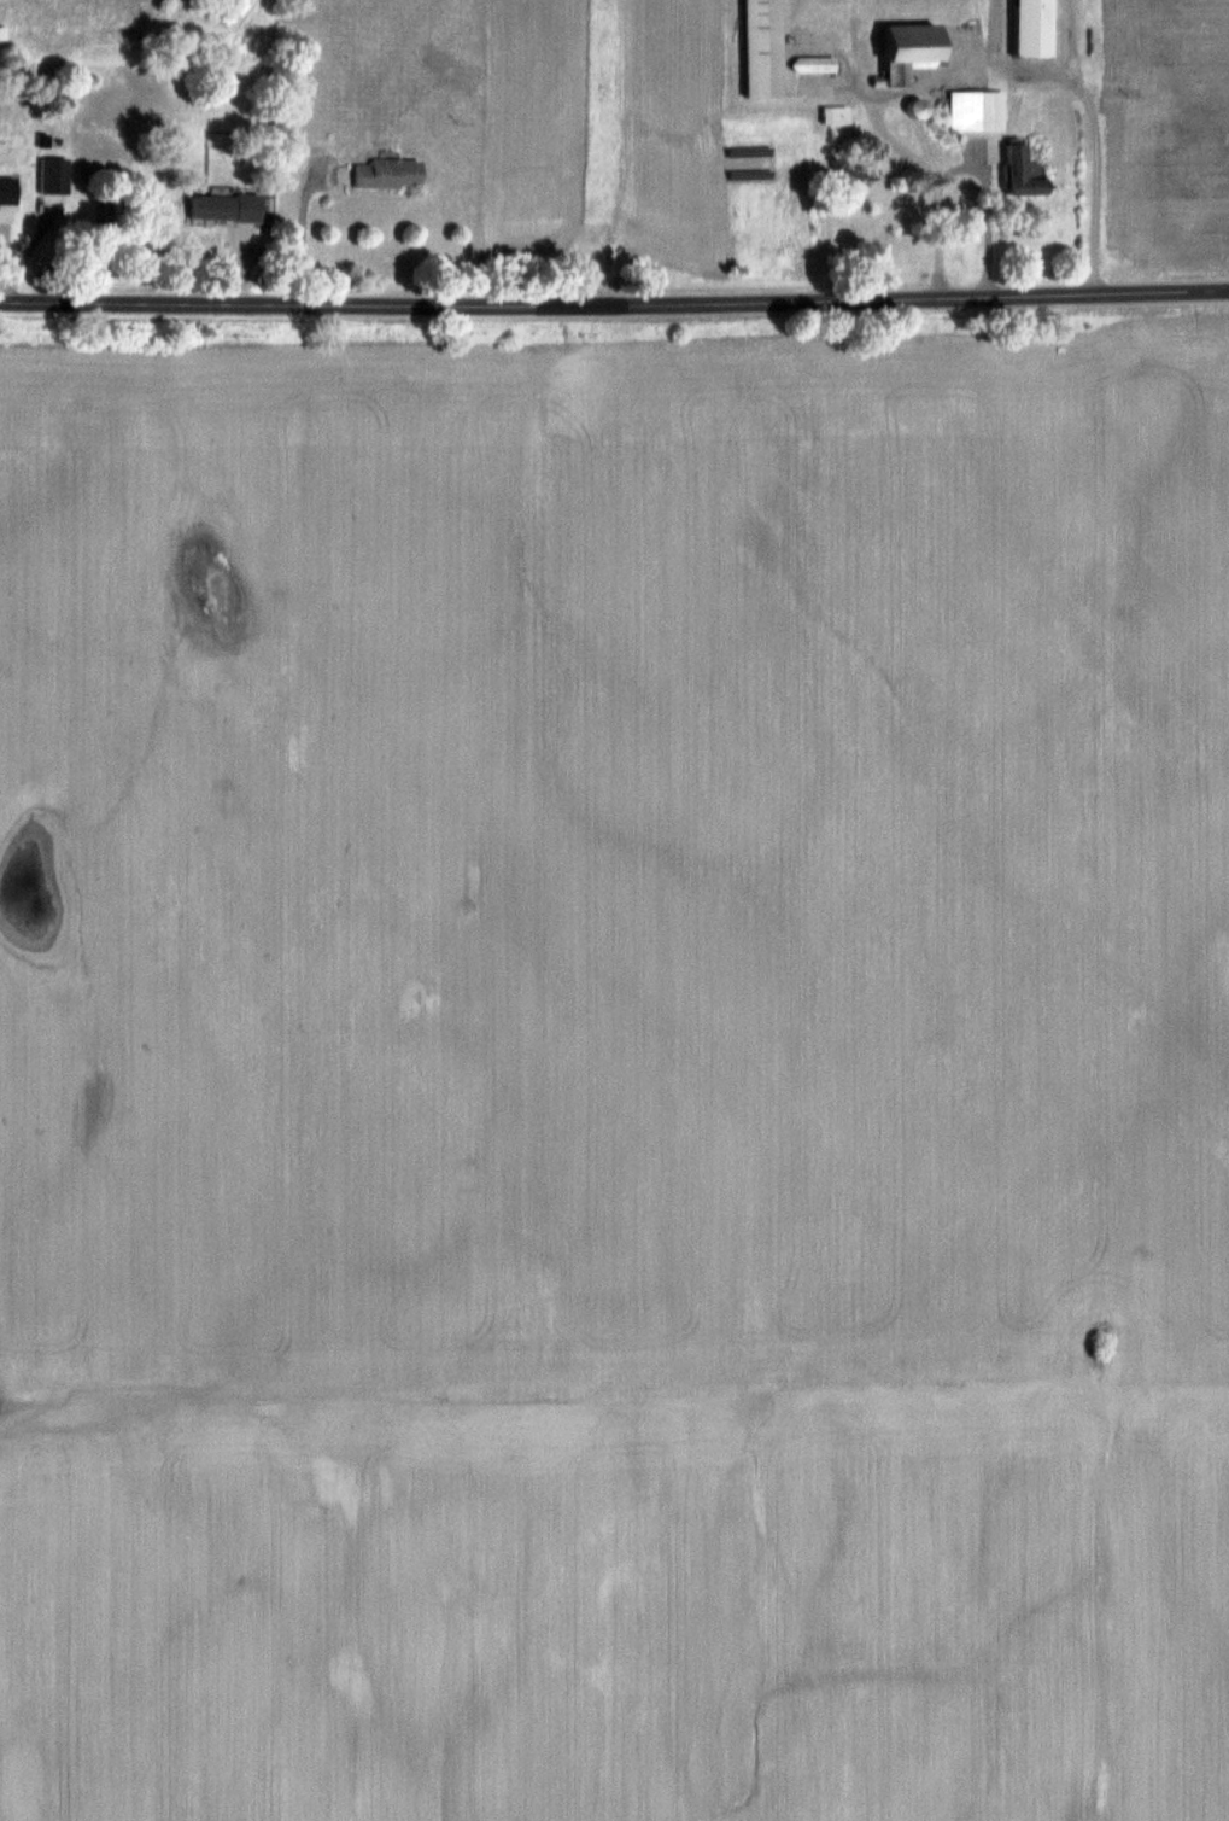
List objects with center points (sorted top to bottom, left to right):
building: (1037, 27)
building: (767, 47)
building: (918, 47)
building: (924, 105)
building: (979, 107)
road: (960, 165)
building: (1026, 170)
building: (391, 171)
road: (1095, 173)
building: (57, 174)
building: (10, 188)
building: (228, 204)
road: (303, 223)
road: (614, 303)

